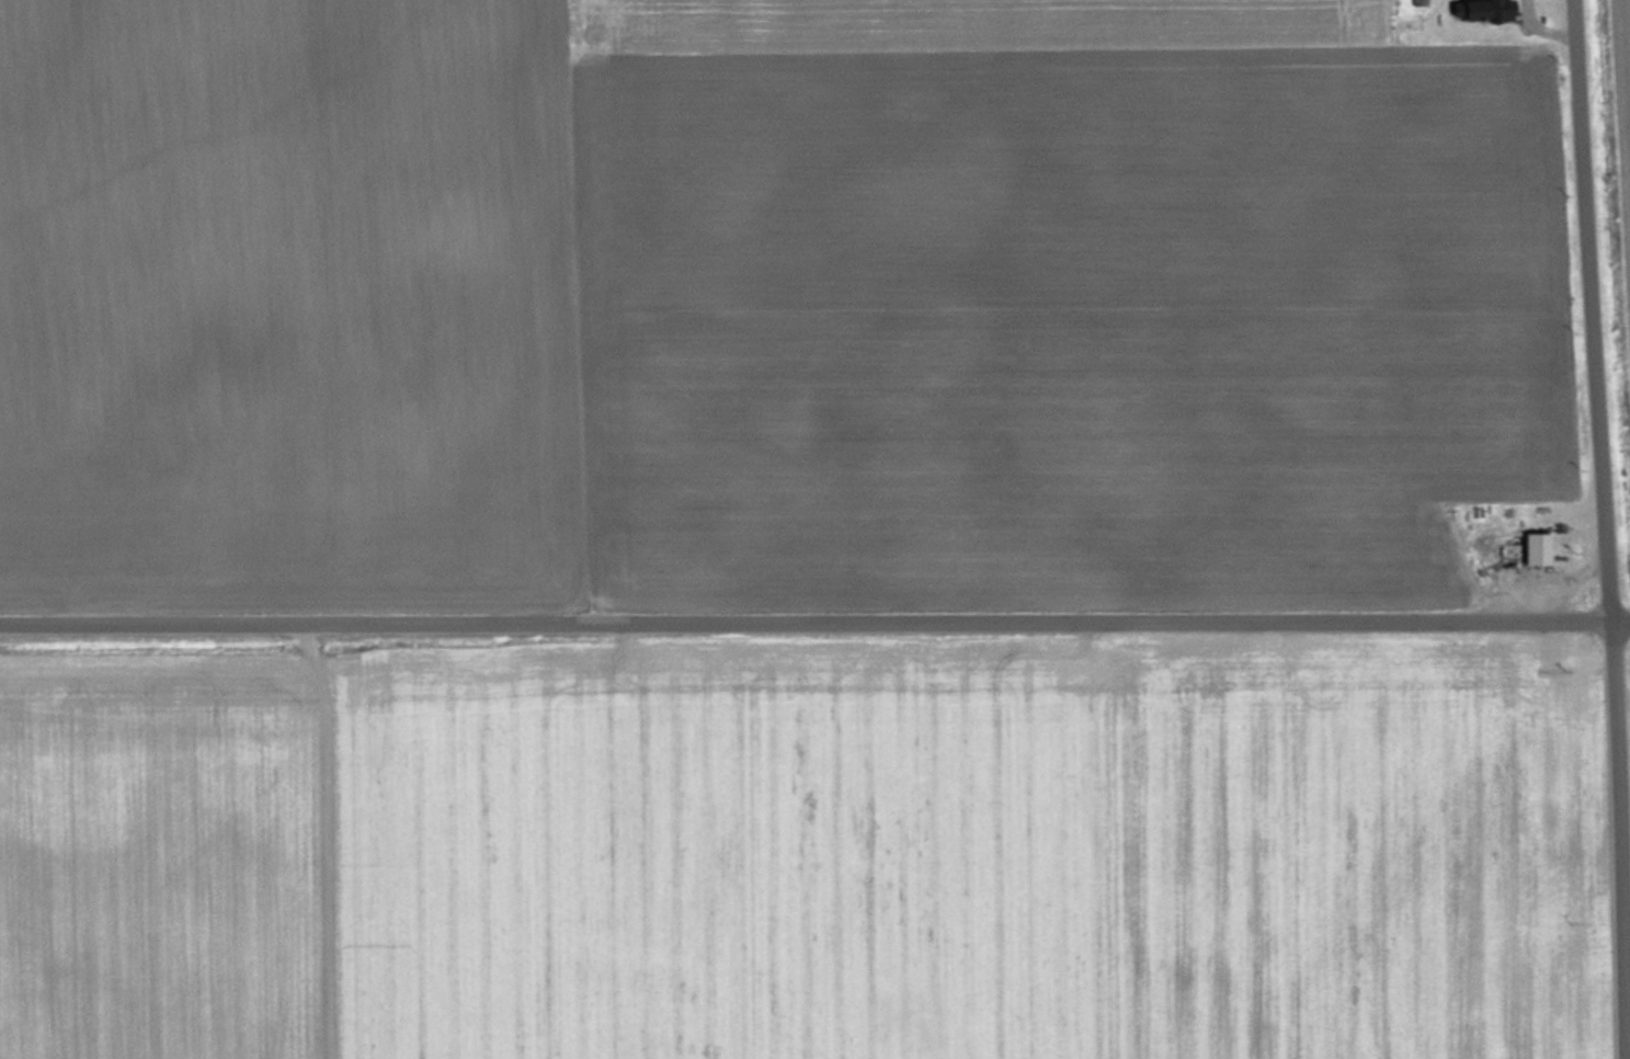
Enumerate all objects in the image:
building: (1487, 9)
road: (1607, 528)
building: (1537, 547)
road: (814, 630)

